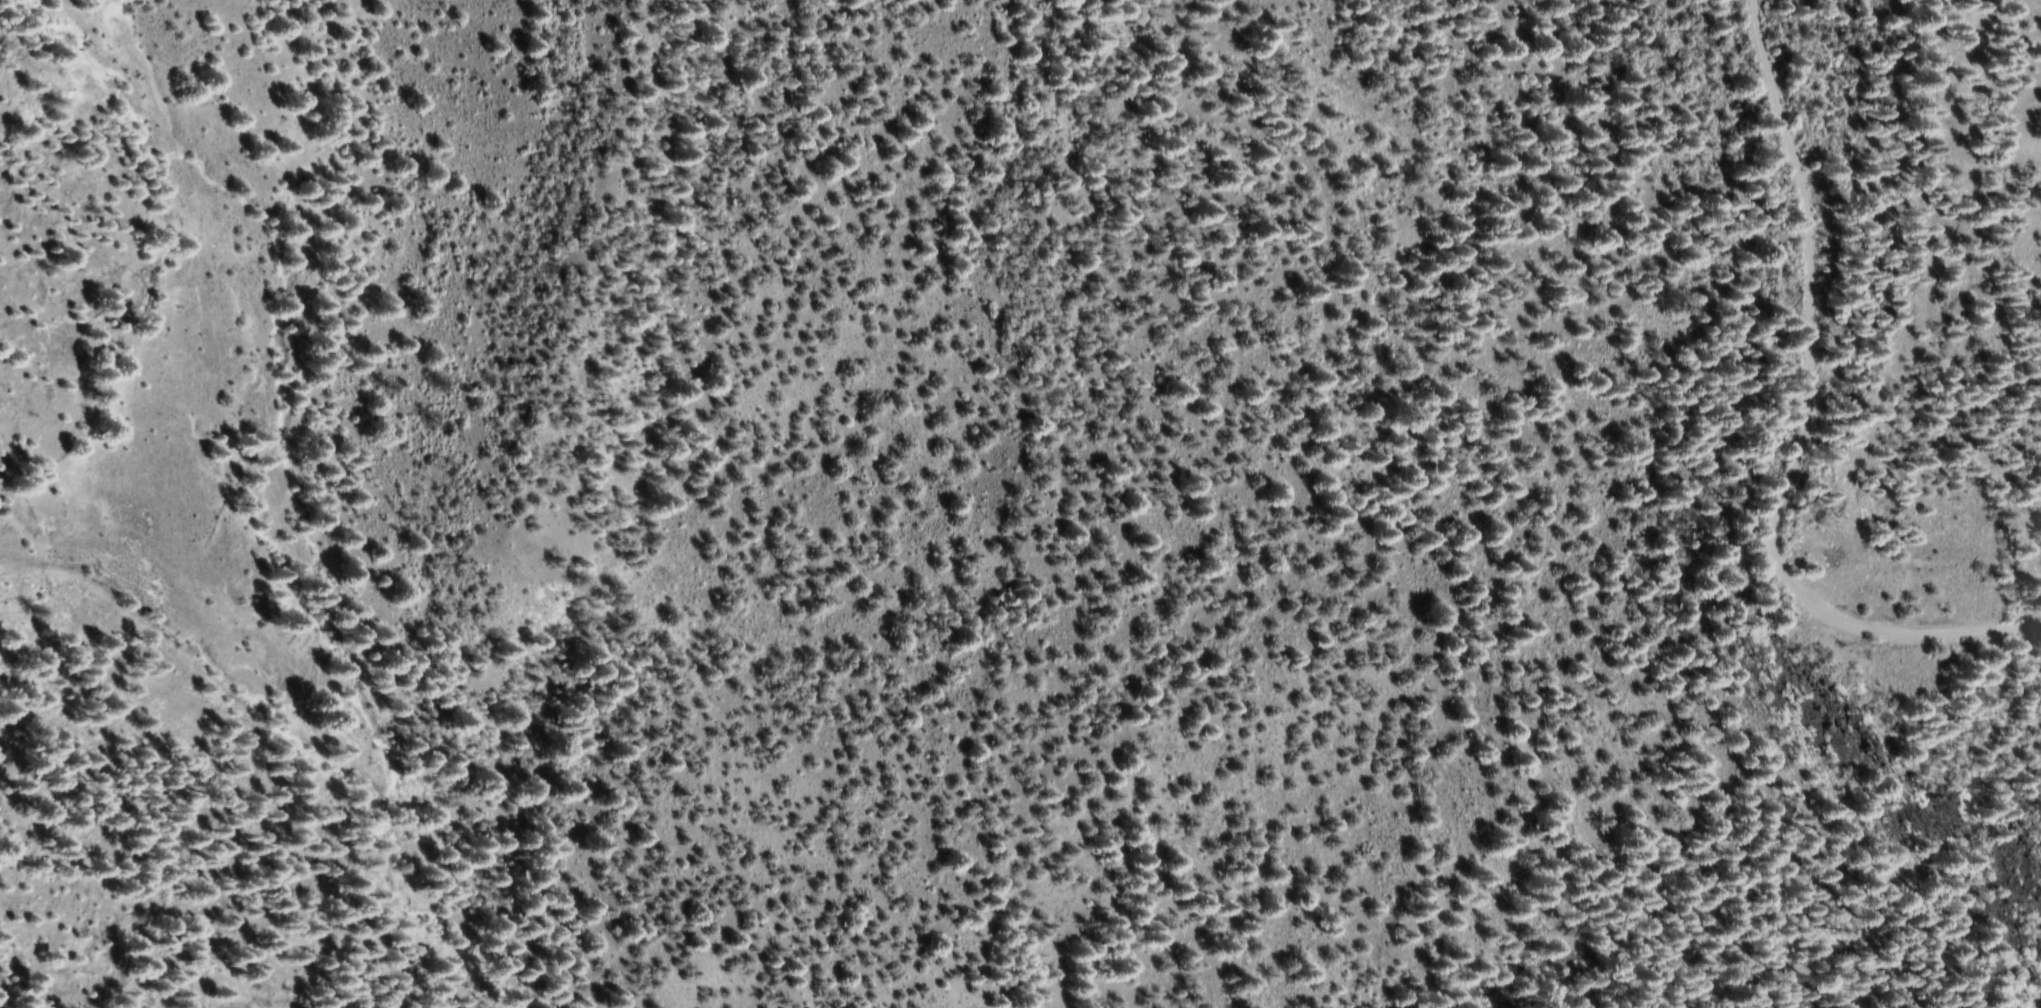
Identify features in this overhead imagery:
road: (1800, 430)

